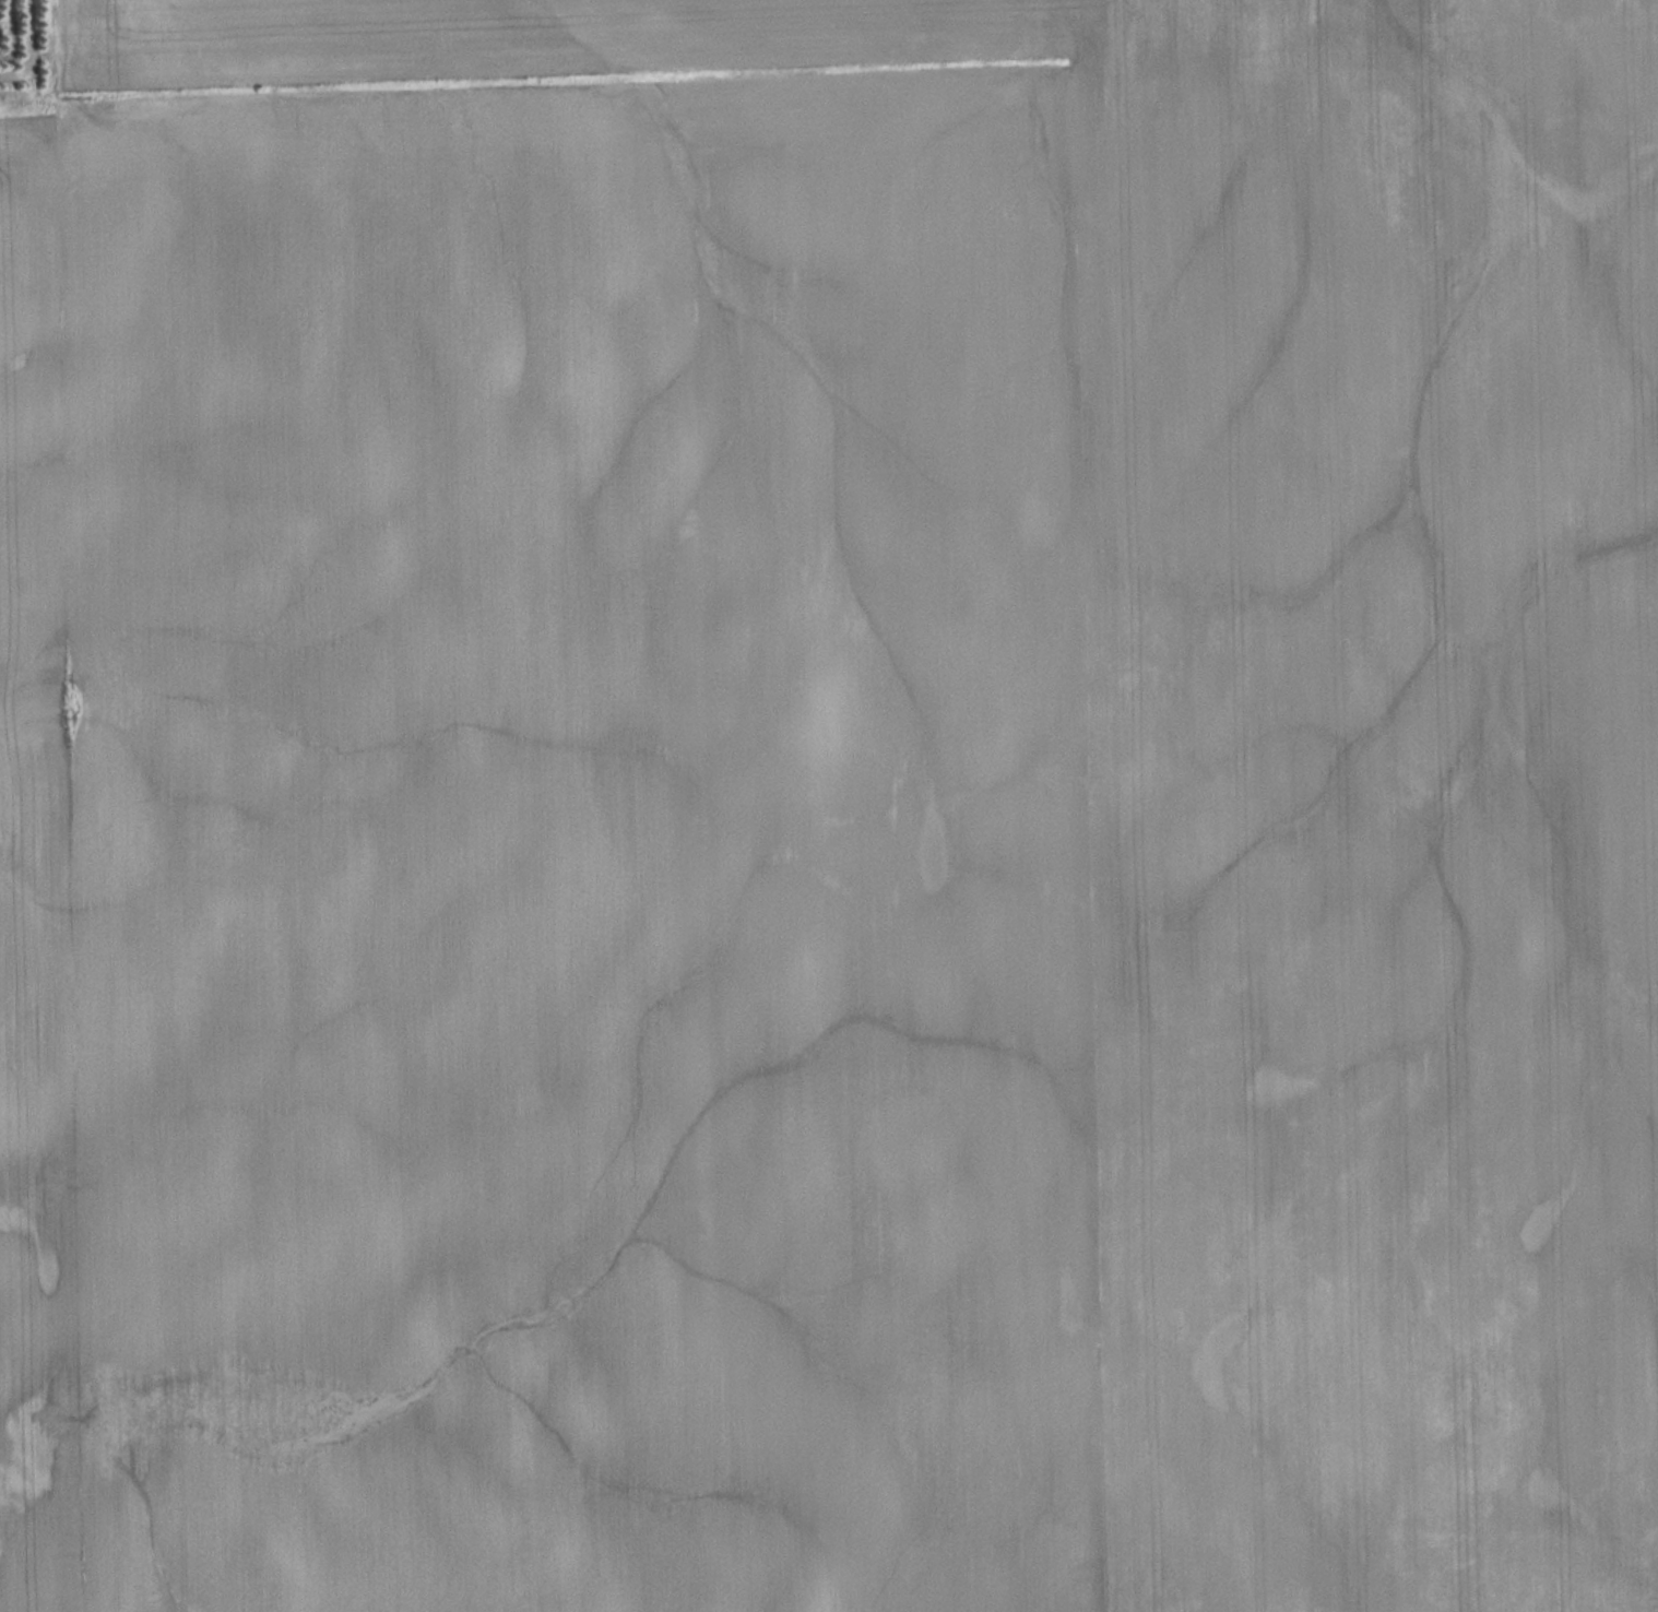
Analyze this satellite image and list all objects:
road: (1361, 58)

